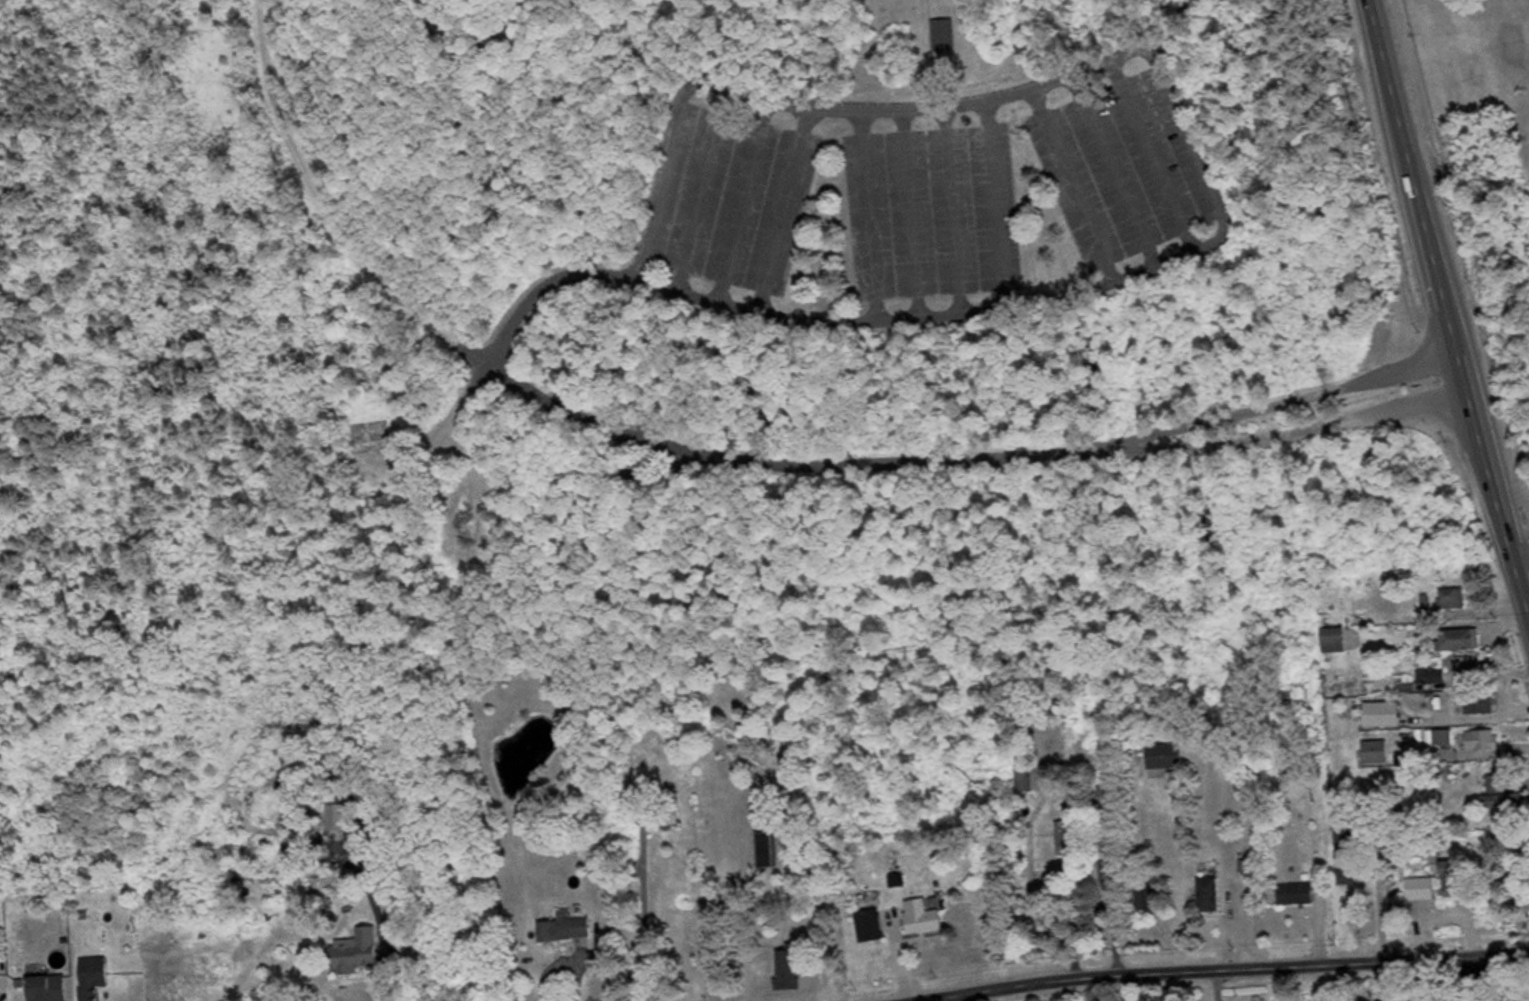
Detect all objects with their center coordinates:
road: (1161, 21)
building: (944, 34)
road: (932, 54)
road: (1152, 156)
road: (1115, 172)
road: (1076, 188)
road: (703, 192)
road: (743, 202)
road: (996, 207)
road: (784, 211)
road: (955, 211)
road: (912, 214)
road: (871, 216)
road: (331, 218)
road: (1203, 245)
road: (536, 290)
park: (745, 302)
road: (1445, 306)
road: (1276, 405)
road: (1282, 436)
road: (788, 461)
road: (1521, 555)
building: (1454, 599)
building: (1336, 640)
building: (1462, 640)
building: (1433, 676)
building: (1483, 703)
building: (1386, 714)
building: (1445, 737)
building: (1485, 741)
building: (1168, 757)
building: (1027, 779)
building: (1506, 801)
building: (1074, 832)
building: (766, 851)
building: (1349, 862)
building: (1455, 880)
building: (1423, 889)
building: (1298, 895)
building: (1211, 896)
building: (926, 917)
building: (872, 927)
building: (568, 929)
building: (359, 951)
road: (1212, 967)
building: (791, 970)
building: (0, 977)
building: (96, 977)
road: (1452, 980)
building: (52, 988)

